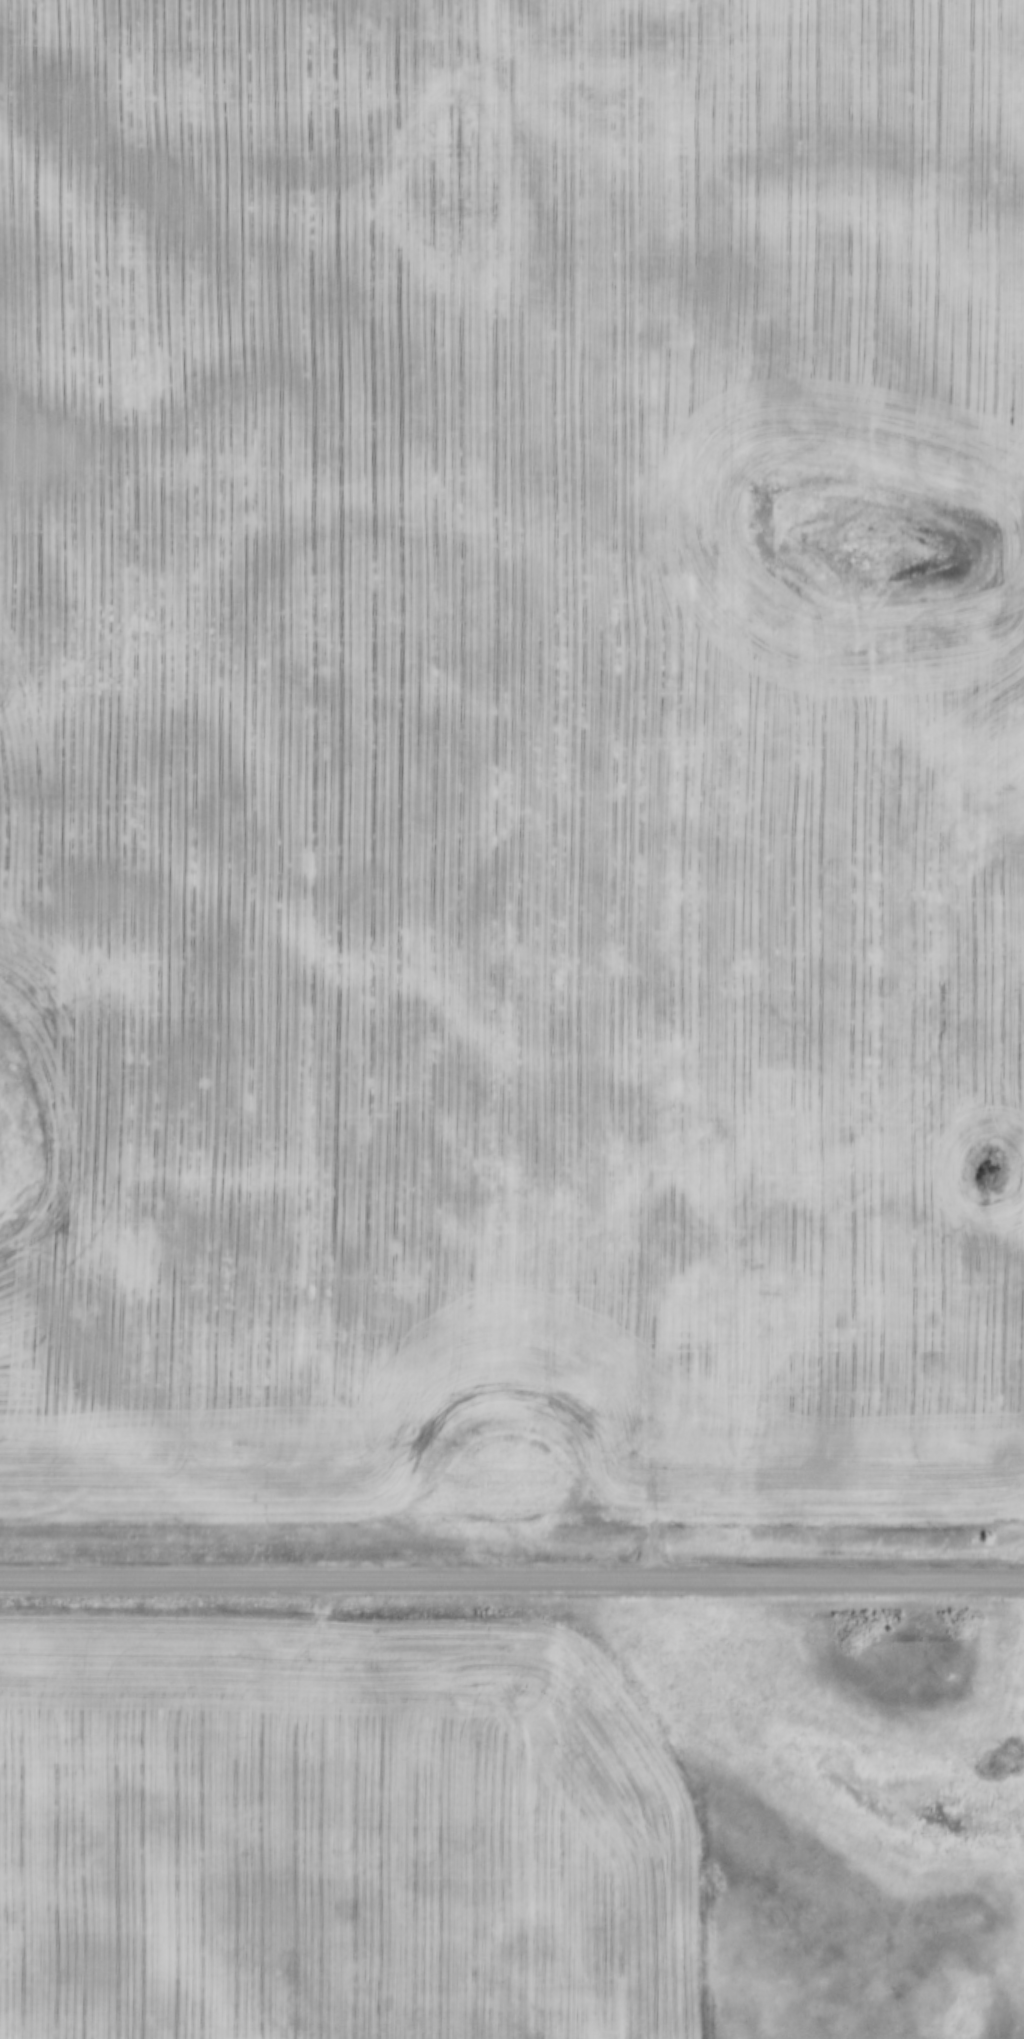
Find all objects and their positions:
road: (512, 1582)

